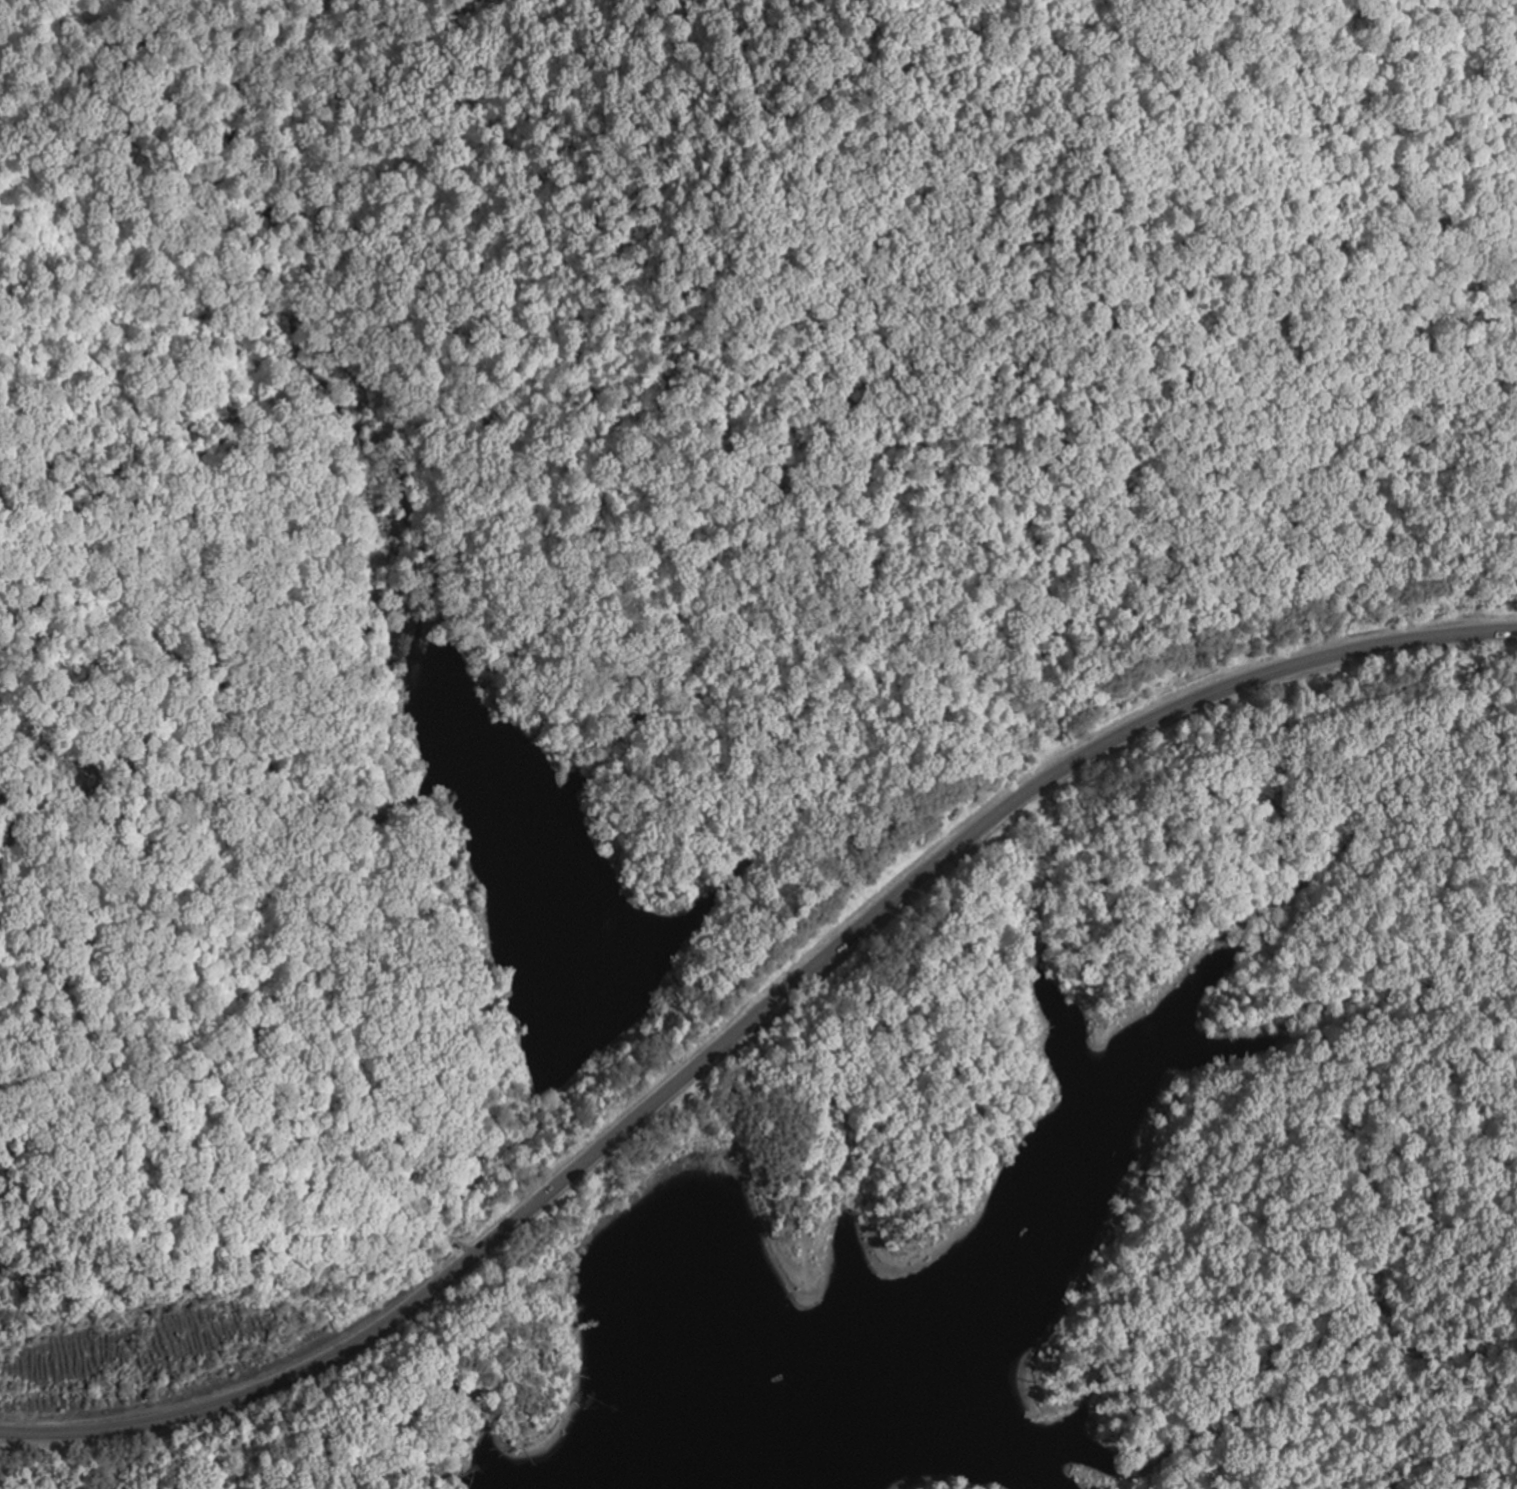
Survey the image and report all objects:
road: (750, 1020)

